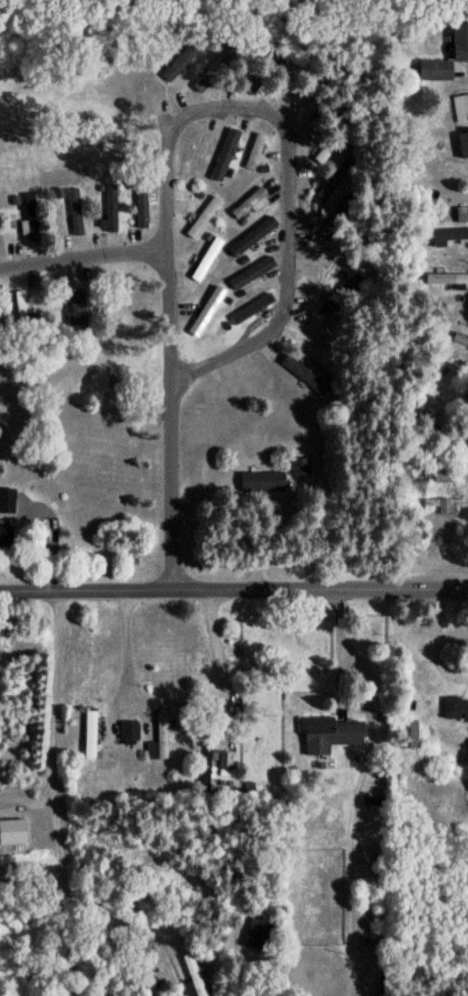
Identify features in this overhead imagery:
building: (459, 39)
building: (460, 106)
building: (463, 141)
building: (253, 150)
building: (322, 151)
building: (194, 152)
building: (224, 154)
road: (287, 165)
building: (330, 180)
building: (250, 201)
building: (140, 205)
building: (75, 209)
building: (108, 209)
building: (461, 212)
building: (28, 216)
building: (202, 216)
building: (447, 233)
building: (251, 234)
road: (81, 256)
building: (205, 257)
building: (250, 270)
building: (448, 277)
building: (336, 295)
building: (20, 304)
road: (180, 304)
building: (75, 305)
building: (205, 305)
building: (250, 307)
building: (319, 341)
building: (299, 367)
building: (439, 377)
road: (171, 481)
building: (262, 481)
building: (442, 504)
road: (49, 517)
building: (5, 535)
road: (234, 590)
road: (436, 643)
road: (123, 646)
road: (217, 659)
building: (454, 707)
building: (127, 728)
building: (88, 731)
building: (328, 731)
building: (406, 731)
building: (158, 735)
road: (367, 742)
building: (224, 757)
building: (203, 762)
road: (47, 793)
building: (12, 830)
building: (256, 932)
building: (193, 973)

